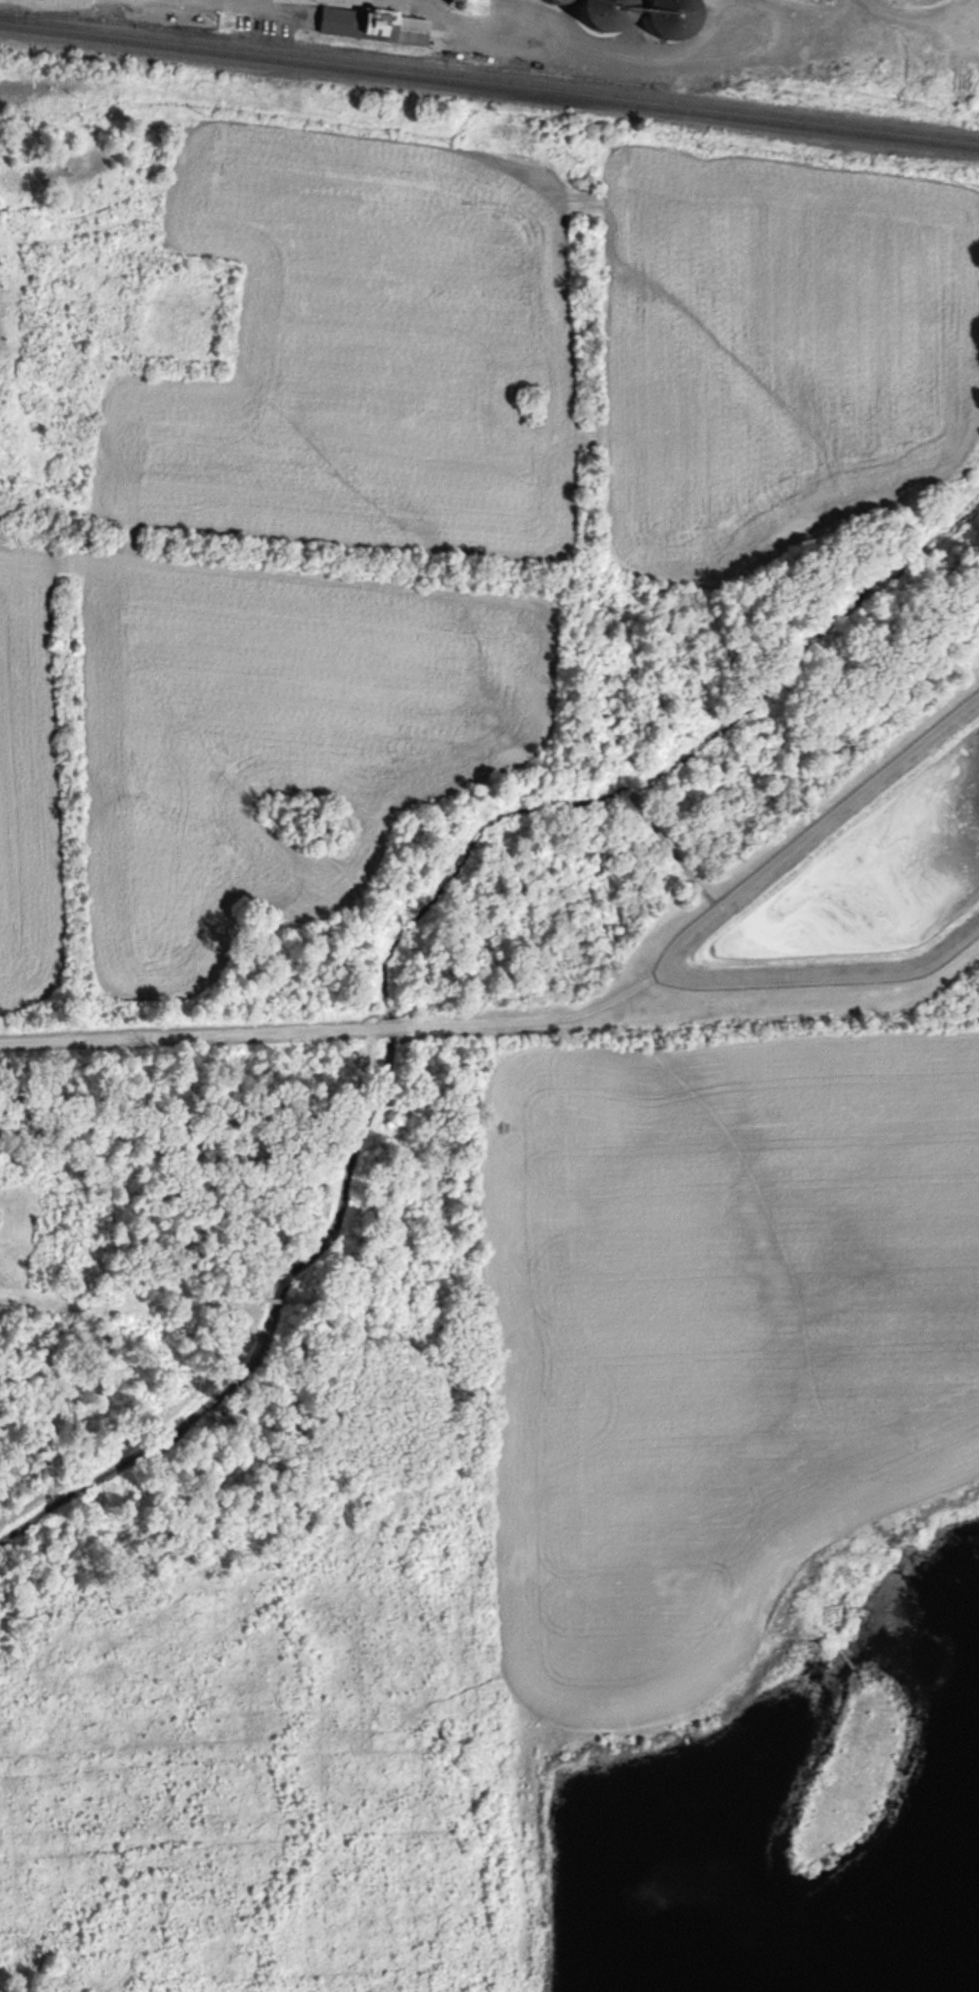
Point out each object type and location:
building: (602, 10)
railway: (67, 12)
building: (661, 17)
building: (381, 26)
railway: (331, 49)
railway: (489, 78)
railway: (489, 88)
river: (390, 994)

